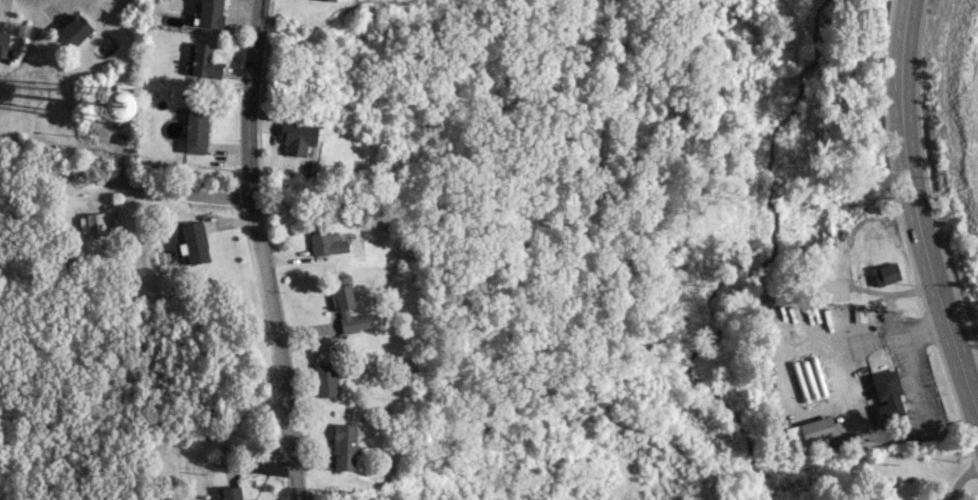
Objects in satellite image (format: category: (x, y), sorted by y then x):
building: (329, 0)
building: (210, 14)
building: (3, 38)
building: (203, 62)
building: (112, 105)
building: (195, 130)
building: (297, 137)
road: (174, 192)
road: (915, 212)
building: (325, 240)
building: (194, 242)
road: (261, 250)
building: (885, 274)
building: (347, 309)
building: (325, 380)
building: (887, 394)
building: (809, 432)
building: (343, 447)
road: (961, 477)
building: (231, 493)

